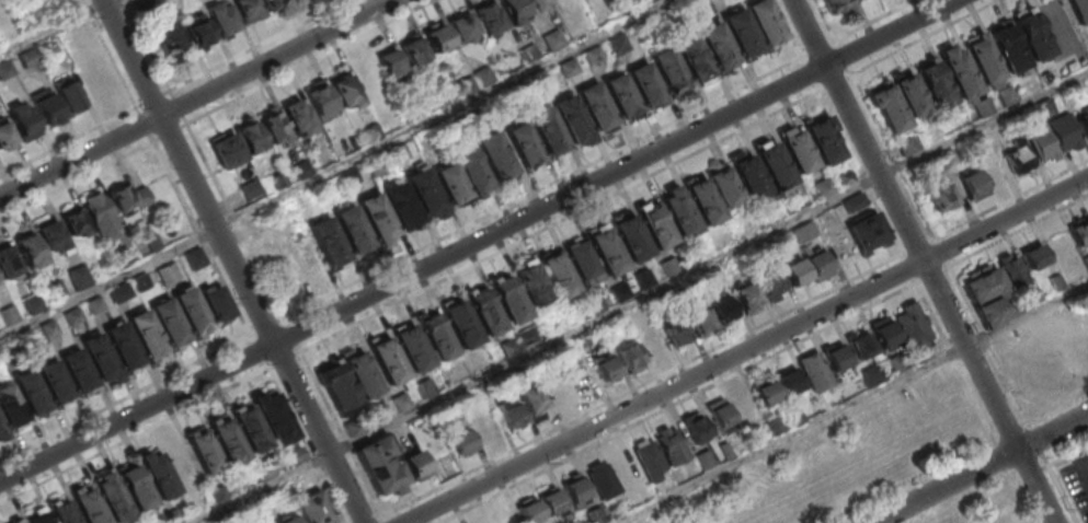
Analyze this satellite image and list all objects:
building: (290, 0)
building: (858, 0)
road: (108, 1)
building: (537, 4)
building: (273, 7)
building: (835, 7)
building: (513, 10)
building: (1079, 10)
building: (247, 11)
building: (489, 18)
building: (763, 21)
building: (222, 22)
building: (461, 25)
road: (859, 27)
road: (53, 30)
building: (198, 31)
building: (740, 31)
building: (1031, 35)
building: (438, 37)
building: (552, 39)
building: (172, 40)
building: (715, 44)
road: (262, 45)
building: (1006, 47)
building: (413, 49)
building: (592, 56)
building: (981, 57)
building: (694, 59)
road: (312, 62)
building: (568, 68)
building: (5, 69)
building: (390, 69)
building: (668, 70)
building: (958, 71)
building: (99, 75)
road: (859, 82)
building: (644, 83)
building: (935, 84)
building: (619, 93)
building: (67, 94)
building: (345, 94)
road: (197, 98)
building: (46, 104)
building: (595, 105)
building: (886, 107)
building: (23, 118)
building: (571, 118)
building: (1083, 123)
building: (273, 127)
building: (546, 130)
building: (4, 131)
building: (1063, 131)
building: (822, 139)
road: (154, 140)
road: (69, 142)
building: (522, 142)
building: (237, 143)
building: (1042, 143)
building: (906, 146)
building: (797, 151)
building: (494, 154)
building: (1018, 158)
building: (774, 165)
road: (334, 167)
building: (992, 170)
building: (471, 171)
building: (749, 177)
road: (77, 179)
building: (845, 179)
building: (450, 182)
building: (971, 183)
building: (722, 186)
road: (542, 187)
building: (824, 189)
building: (424, 191)
building: (940, 197)
building: (129, 199)
road: (1011, 199)
building: (702, 201)
building: (400, 205)
building: (855, 205)
building: (678, 211)
building: (101, 213)
building: (376, 216)
building: (73, 218)
road: (561, 220)
building: (655, 225)
building: (352, 228)
building: (49, 231)
building: (866, 231)
road: (1018, 232)
building: (1079, 233)
building: (804, 234)
building: (631, 237)
road: (935, 239)
building: (325, 240)
road: (478, 240)
building: (606, 249)
building: (1033, 256)
building: (196, 258)
road: (924, 260)
building: (1085, 261)
building: (8, 263)
road: (232, 263)
building: (582, 263)
building: (816, 264)
building: (683, 265)
building: (668, 269)
building: (794, 270)
building: (1011, 270)
building: (167, 272)
building: (557, 274)
building: (80, 279)
building: (645, 281)
building: (531, 283)
building: (771, 284)
building: (119, 293)
building: (621, 294)
building: (988, 295)
building: (746, 297)
road: (641, 298)
building: (508, 300)
building: (32, 303)
building: (216, 304)
building: (719, 305)
building: (94, 306)
building: (596, 306)
building: (191, 310)
building: (484, 312)
building: (72, 317)
building: (168, 321)
building: (700, 321)
building: (460, 324)
building: (911, 325)
building: (883, 330)
building: (676, 332)
building: (145, 333)
building: (436, 335)
building: (527, 341)
building: (653, 341)
building: (860, 344)
building: (122, 345)
building: (411, 347)
building: (1043, 349)
building: (509, 350)
road: (747, 350)
building: (835, 355)
building: (98, 357)
building: (630, 358)
building: (387, 360)
building: (892, 364)
building: (605, 367)
building: (77, 369)
building: (814, 371)
building: (359, 374)
building: (871, 374)
building: (53, 381)
building: (788, 381)
building: (336, 385)
road: (141, 387)
building: (424, 387)
building: (558, 391)
building: (764, 392)
building: (30, 393)
building: (531, 398)
building: (400, 402)
road: (851, 403)
road: (678, 404)
building: (10, 407)
building: (718, 411)
building: (509, 414)
building: (273, 417)
building: (354, 426)
building: (486, 426)
building: (695, 426)
building: (1, 427)
road: (152, 427)
building: (250, 428)
building: (1, 433)
building: (228, 440)
building: (460, 441)
building: (671, 444)
building: (724, 450)
building: (204, 452)
building: (437, 453)
building: (294, 456)
building: (648, 457)
building: (703, 458)
building: (181, 463)
building: (378, 464)
building: (415, 464)
road: (978, 467)
building: (158, 475)
building: (602, 479)
parking lot: (1077, 483)
building: (135, 486)
building: (574, 490)
building: (113, 498)
building: (550, 500)
building: (88, 505)
building: (311, 508)
building: (528, 510)
building: (61, 511)
building: (37, 515)
building: (593, 515)
road: (381, 518)
building: (288, 519)
building: (15, 521)

